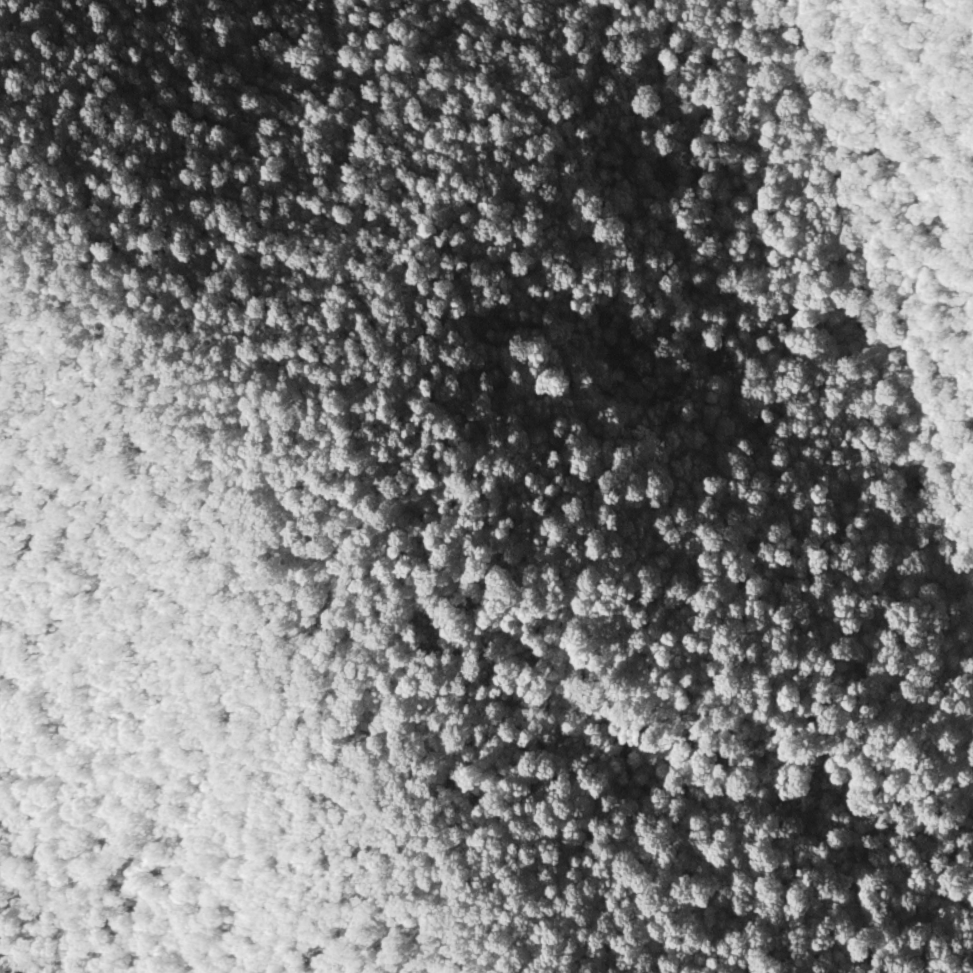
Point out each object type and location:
road: (590, 466)
road: (96, 881)

